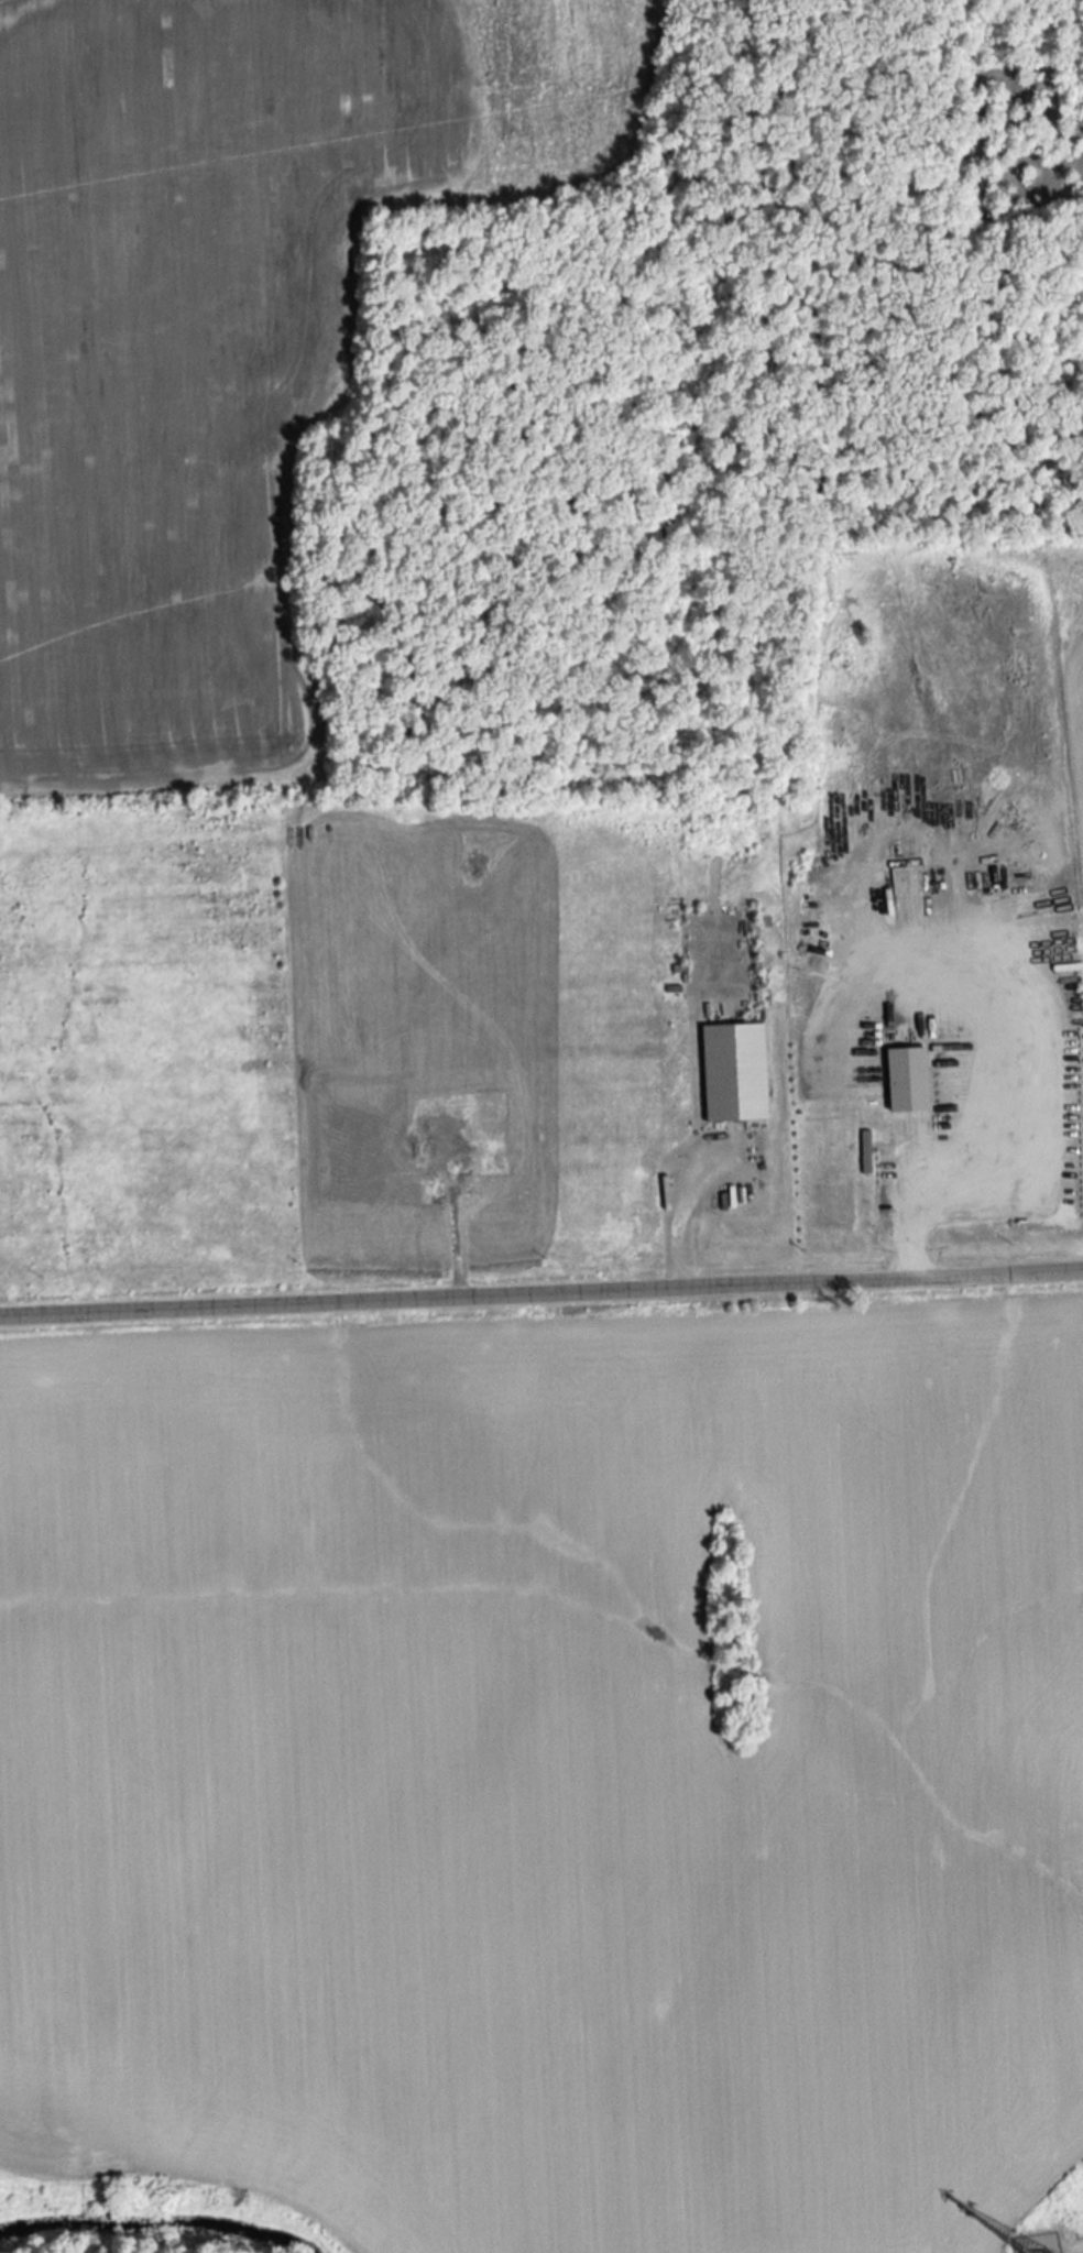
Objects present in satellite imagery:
building: (1011, 824)
building: (1048, 825)
building: (731, 1072)
building: (902, 1079)
road: (541, 1293)
river: (151, 2222)
road: (1070, 2239)

